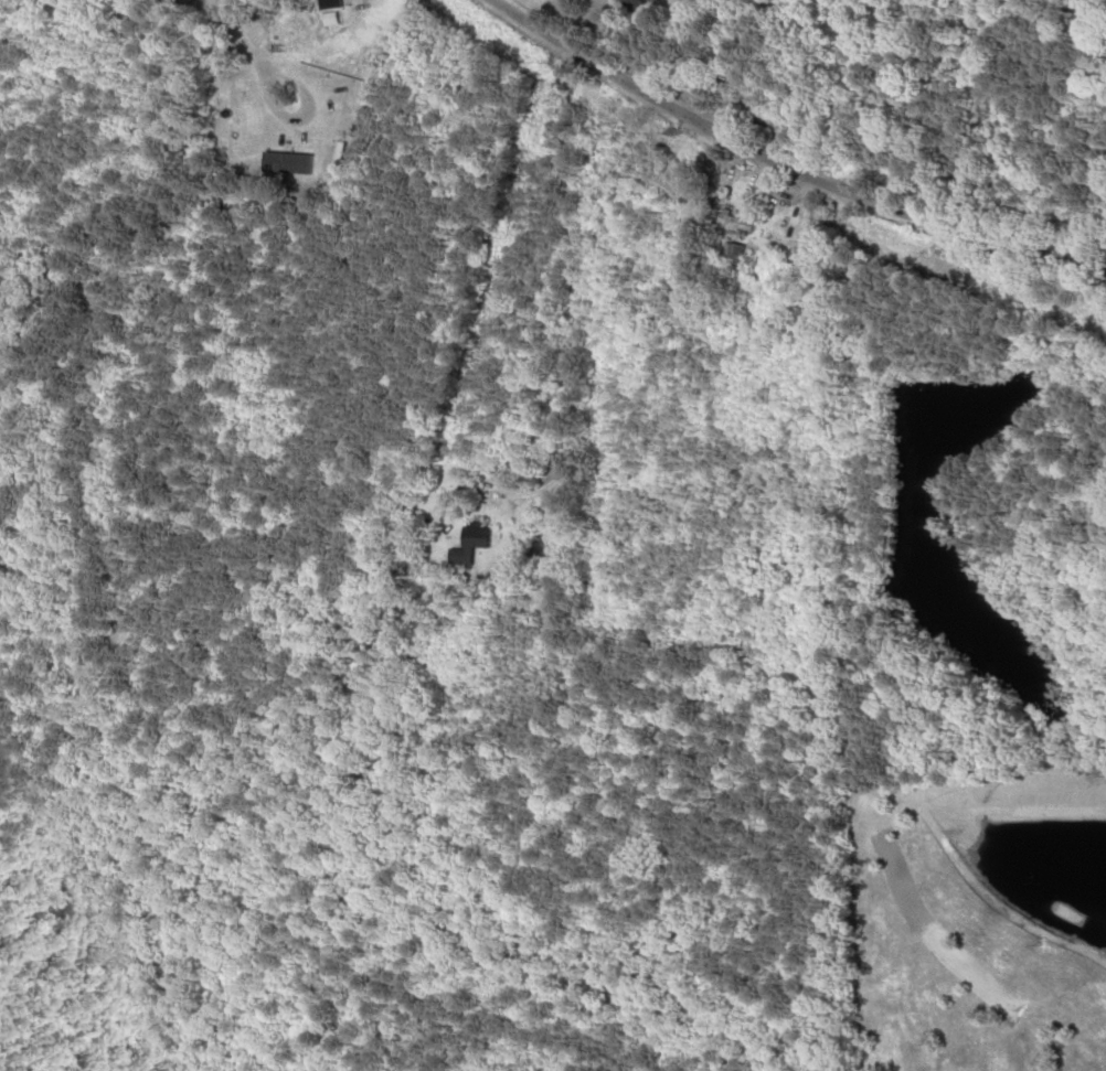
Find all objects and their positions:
building: (337, 3)
building: (646, 7)
road: (795, 161)
building: (744, 221)
road: (556, 269)
building: (477, 543)

